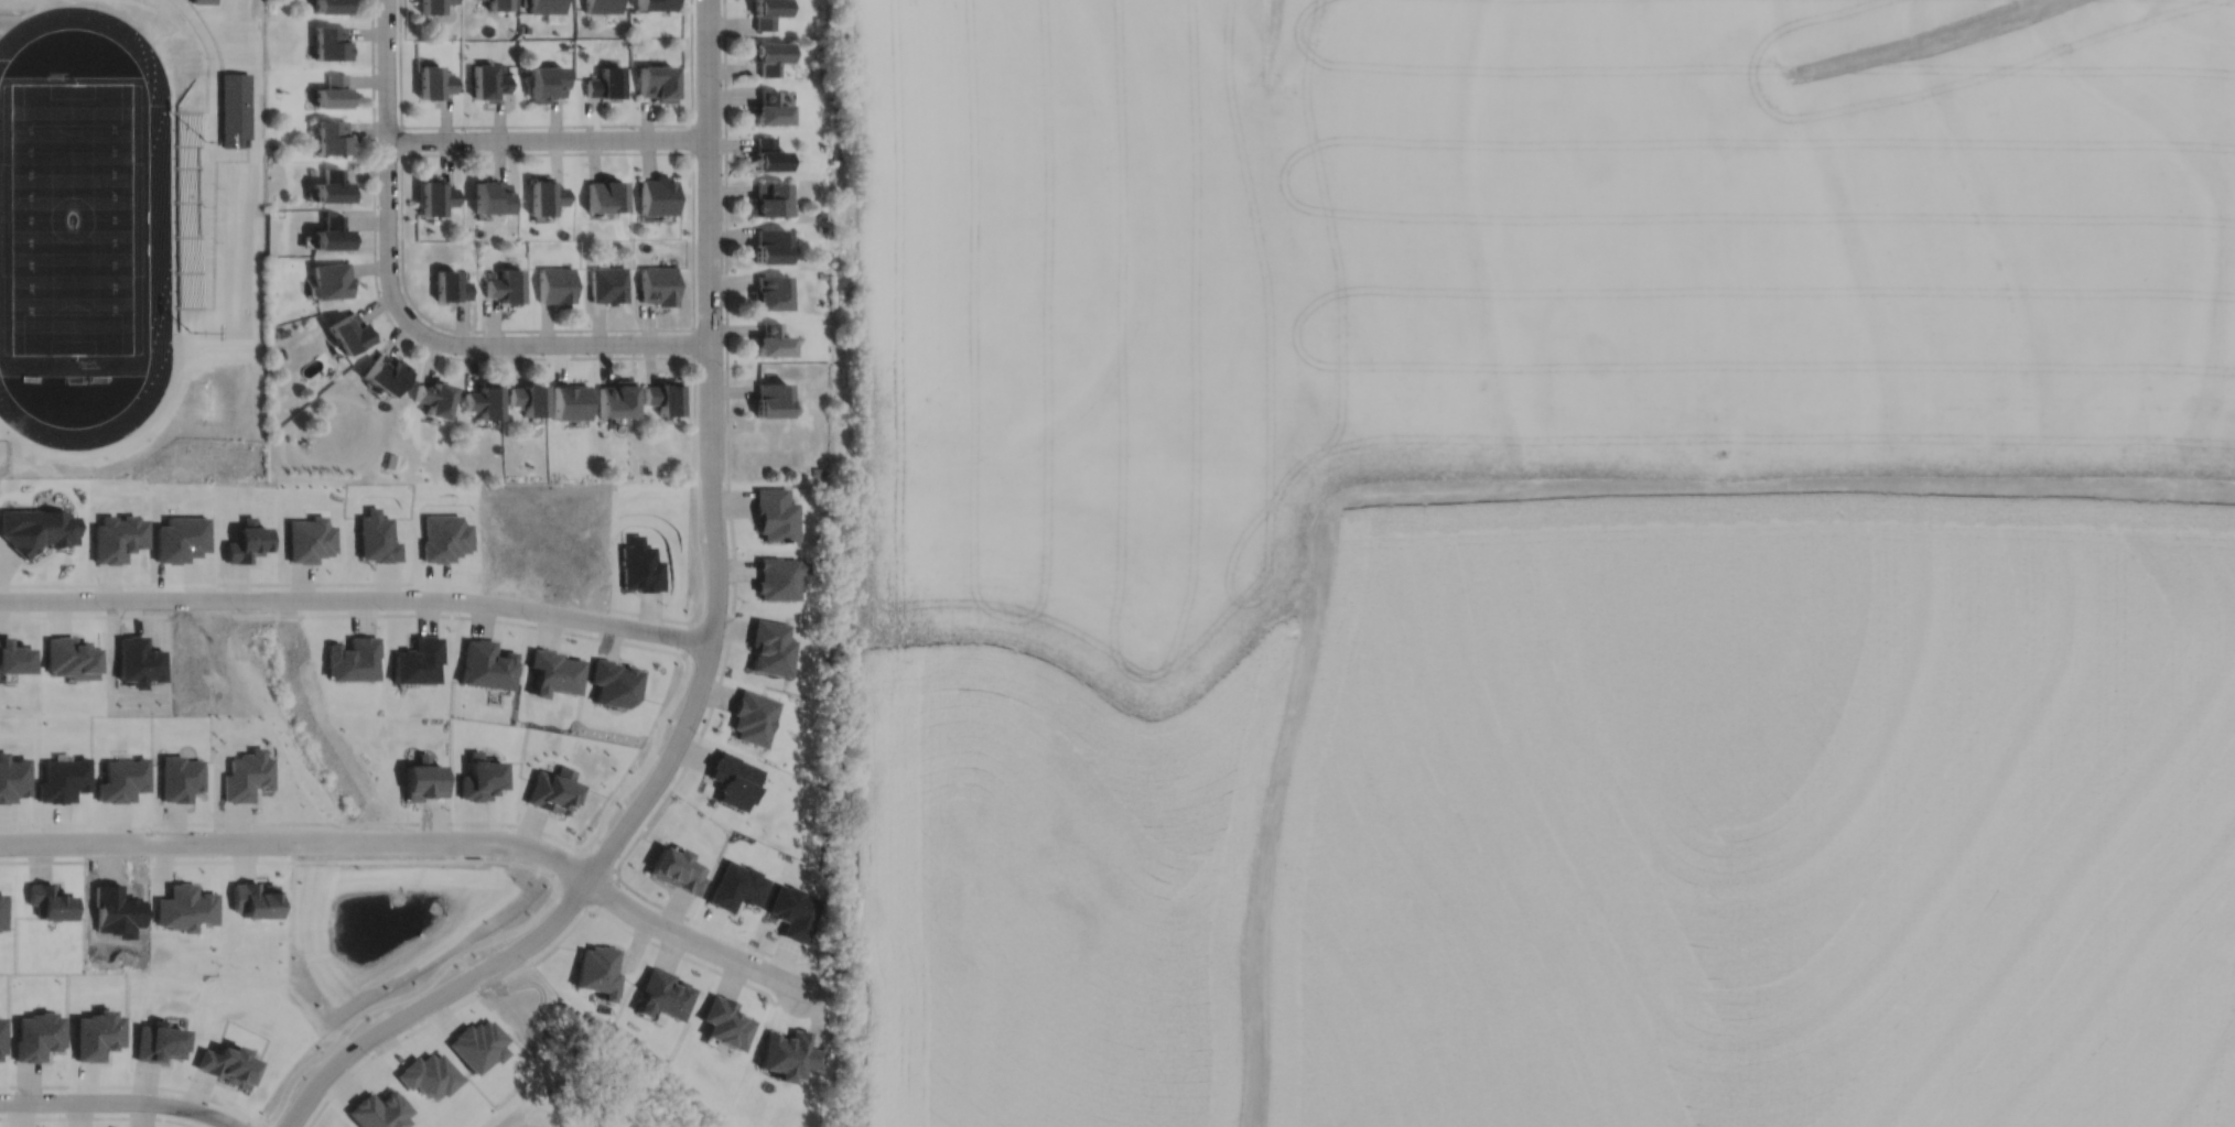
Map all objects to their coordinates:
building: (203, 1)
building: (654, 4)
building: (433, 6)
building: (498, 6)
building: (331, 7)
building: (546, 7)
building: (602, 7)
building: (765, 13)
building: (820, 20)
building: (525, 28)
building: (331, 43)
building: (767, 57)
building: (499, 67)
building: (433, 83)
building: (487, 83)
building: (546, 83)
building: (658, 83)
building: (605, 84)
building: (332, 93)
building: (768, 106)
road: (544, 124)
building: (328, 134)
road: (691, 137)
road: (548, 138)
road: (401, 139)
building: (767, 152)
road: (387, 164)
building: (311, 170)
building: (328, 184)
building: (603, 192)
building: (489, 193)
building: (542, 193)
building: (656, 193)
building: (432, 194)
building: (767, 196)
building: (820, 213)
building: (645, 216)
park: (72, 217)
building: (821, 227)
building: (328, 230)
track: (160, 232)
building: (769, 243)
crop: (1545, 246)
building: (271, 260)
building: (462, 272)
building: (822, 273)
building: (327, 278)
building: (607, 282)
building: (447, 283)
building: (503, 283)
building: (555, 283)
building: (658, 283)
building: (768, 291)
road: (693, 314)
building: (345, 330)
building: (279, 332)
road: (726, 337)
building: (770, 338)
road: (693, 342)
road: (558, 343)
road: (663, 356)
building: (381, 371)
building: (661, 394)
building: (430, 395)
building: (526, 397)
building: (615, 397)
building: (481, 398)
building: (769, 398)
building: (569, 400)
road: (710, 456)
building: (388, 460)
building: (623, 470)
building: (817, 470)
building: (774, 513)
building: (35, 528)
building: (117, 537)
building: (180, 538)
building: (307, 539)
building: (777, 577)
road: (357, 597)
road: (343, 614)
building: (770, 647)
building: (11, 655)
building: (353, 657)
building: (67, 658)
building: (415, 661)
building: (485, 664)
building: (552, 672)
building: (613, 683)
building: (753, 717)
building: (481, 777)
building: (421, 780)
building: (552, 791)
crop: (1060, 799)
crop: (1763, 814)
road: (453, 821)
road: (162, 822)
road: (419, 839)
road: (42, 858)
road: (598, 859)
road: (617, 865)
building: (677, 868)
road: (554, 884)
road: (605, 891)
building: (253, 898)
road: (572, 898)
building: (48, 899)
building: (185, 904)
building: (1, 909)
road: (536, 957)
building: (597, 968)
building: (663, 991)
road: (433, 998)
building: (725, 1020)
road: (346, 1027)
building: (95, 1032)
building: (0, 1033)
building: (37, 1033)
building: (158, 1040)
building: (478, 1042)
building: (789, 1052)
building: (227, 1062)
building: (428, 1072)
road: (133, 1083)
road: (120, 1101)
building: (378, 1109)
road: (61, 1116)

